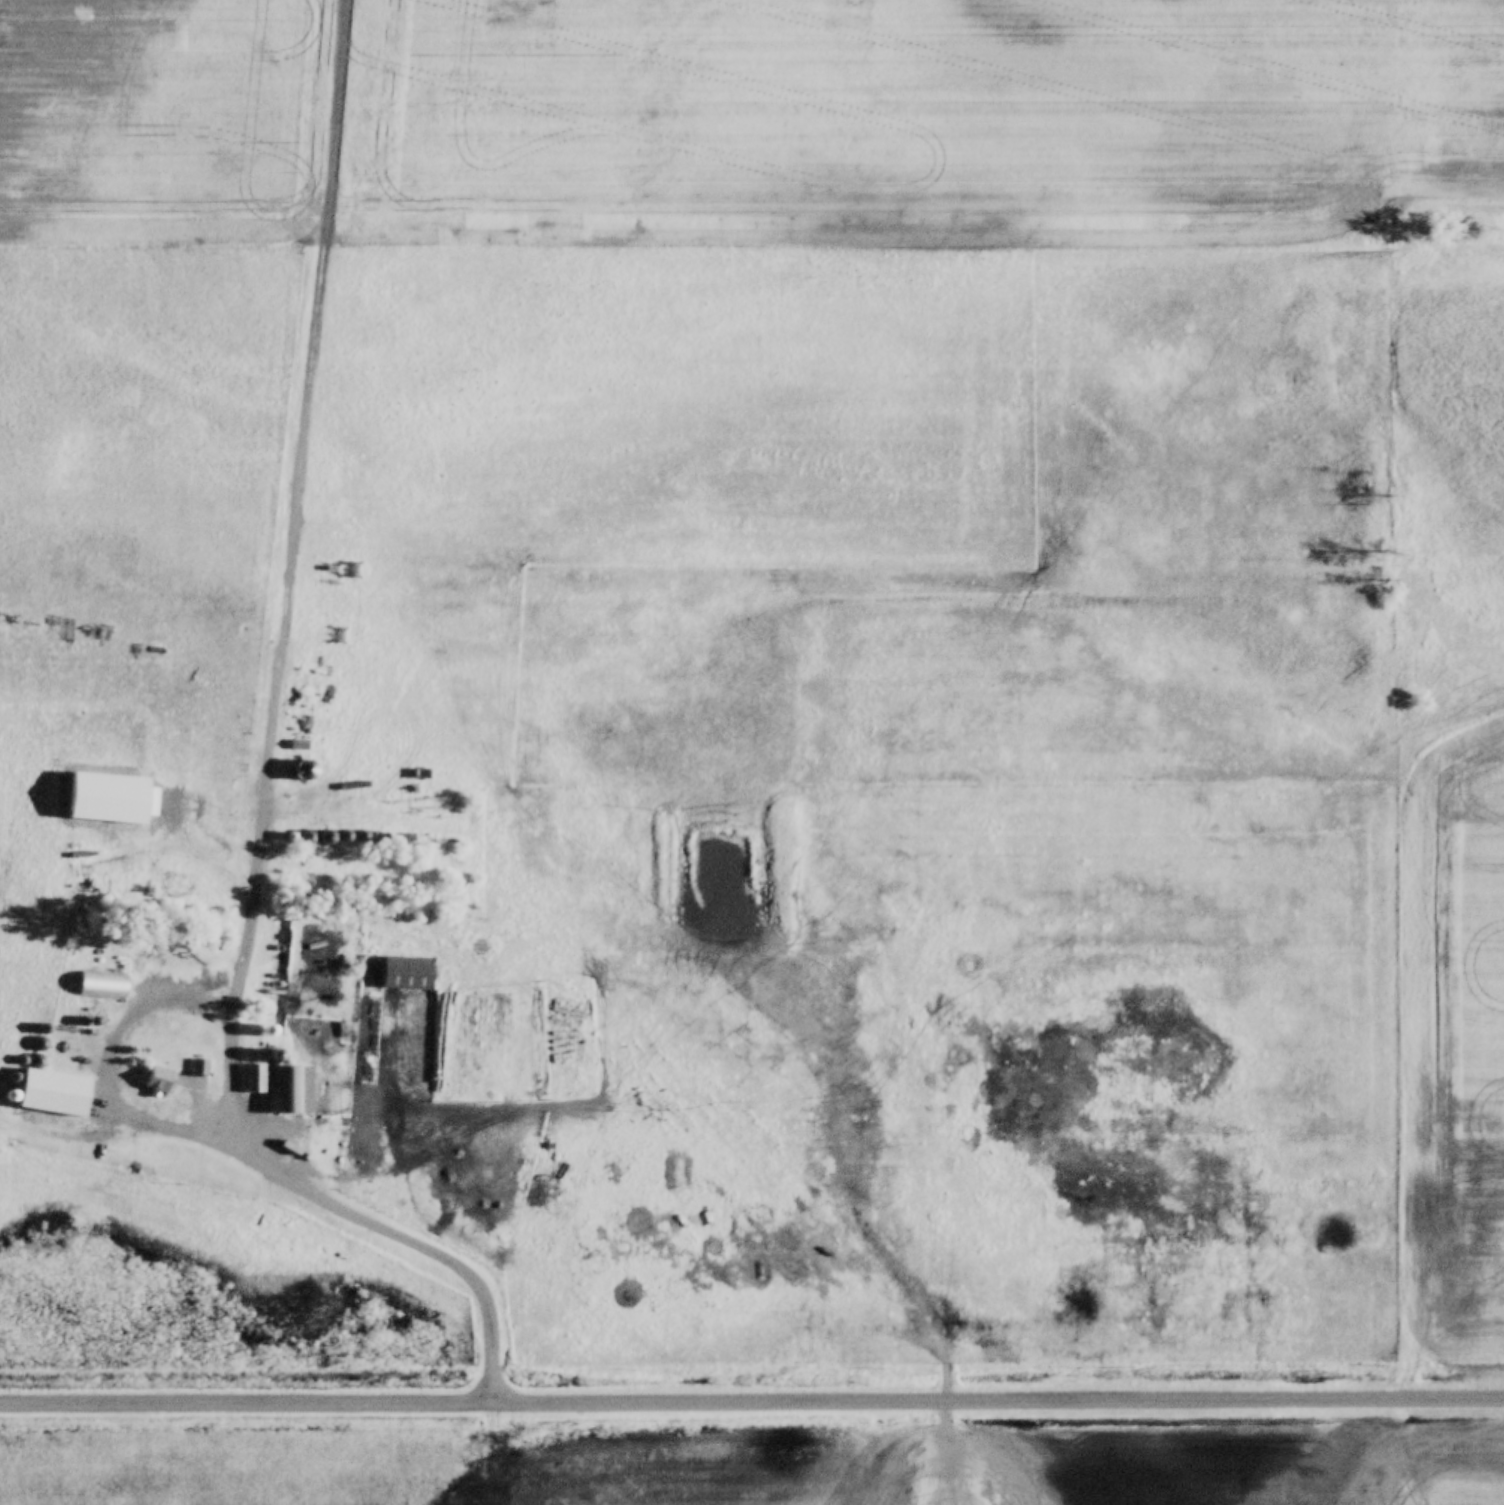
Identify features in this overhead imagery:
road: (296, 518)
building: (411, 962)
building: (107, 976)
building: (330, 1037)
building: (260, 1064)
building: (199, 1068)
building: (61, 1077)
building: (292, 1077)
building: (255, 1079)
building: (562, 1080)
building: (159, 1083)
road: (235, 1100)
road: (752, 1400)

